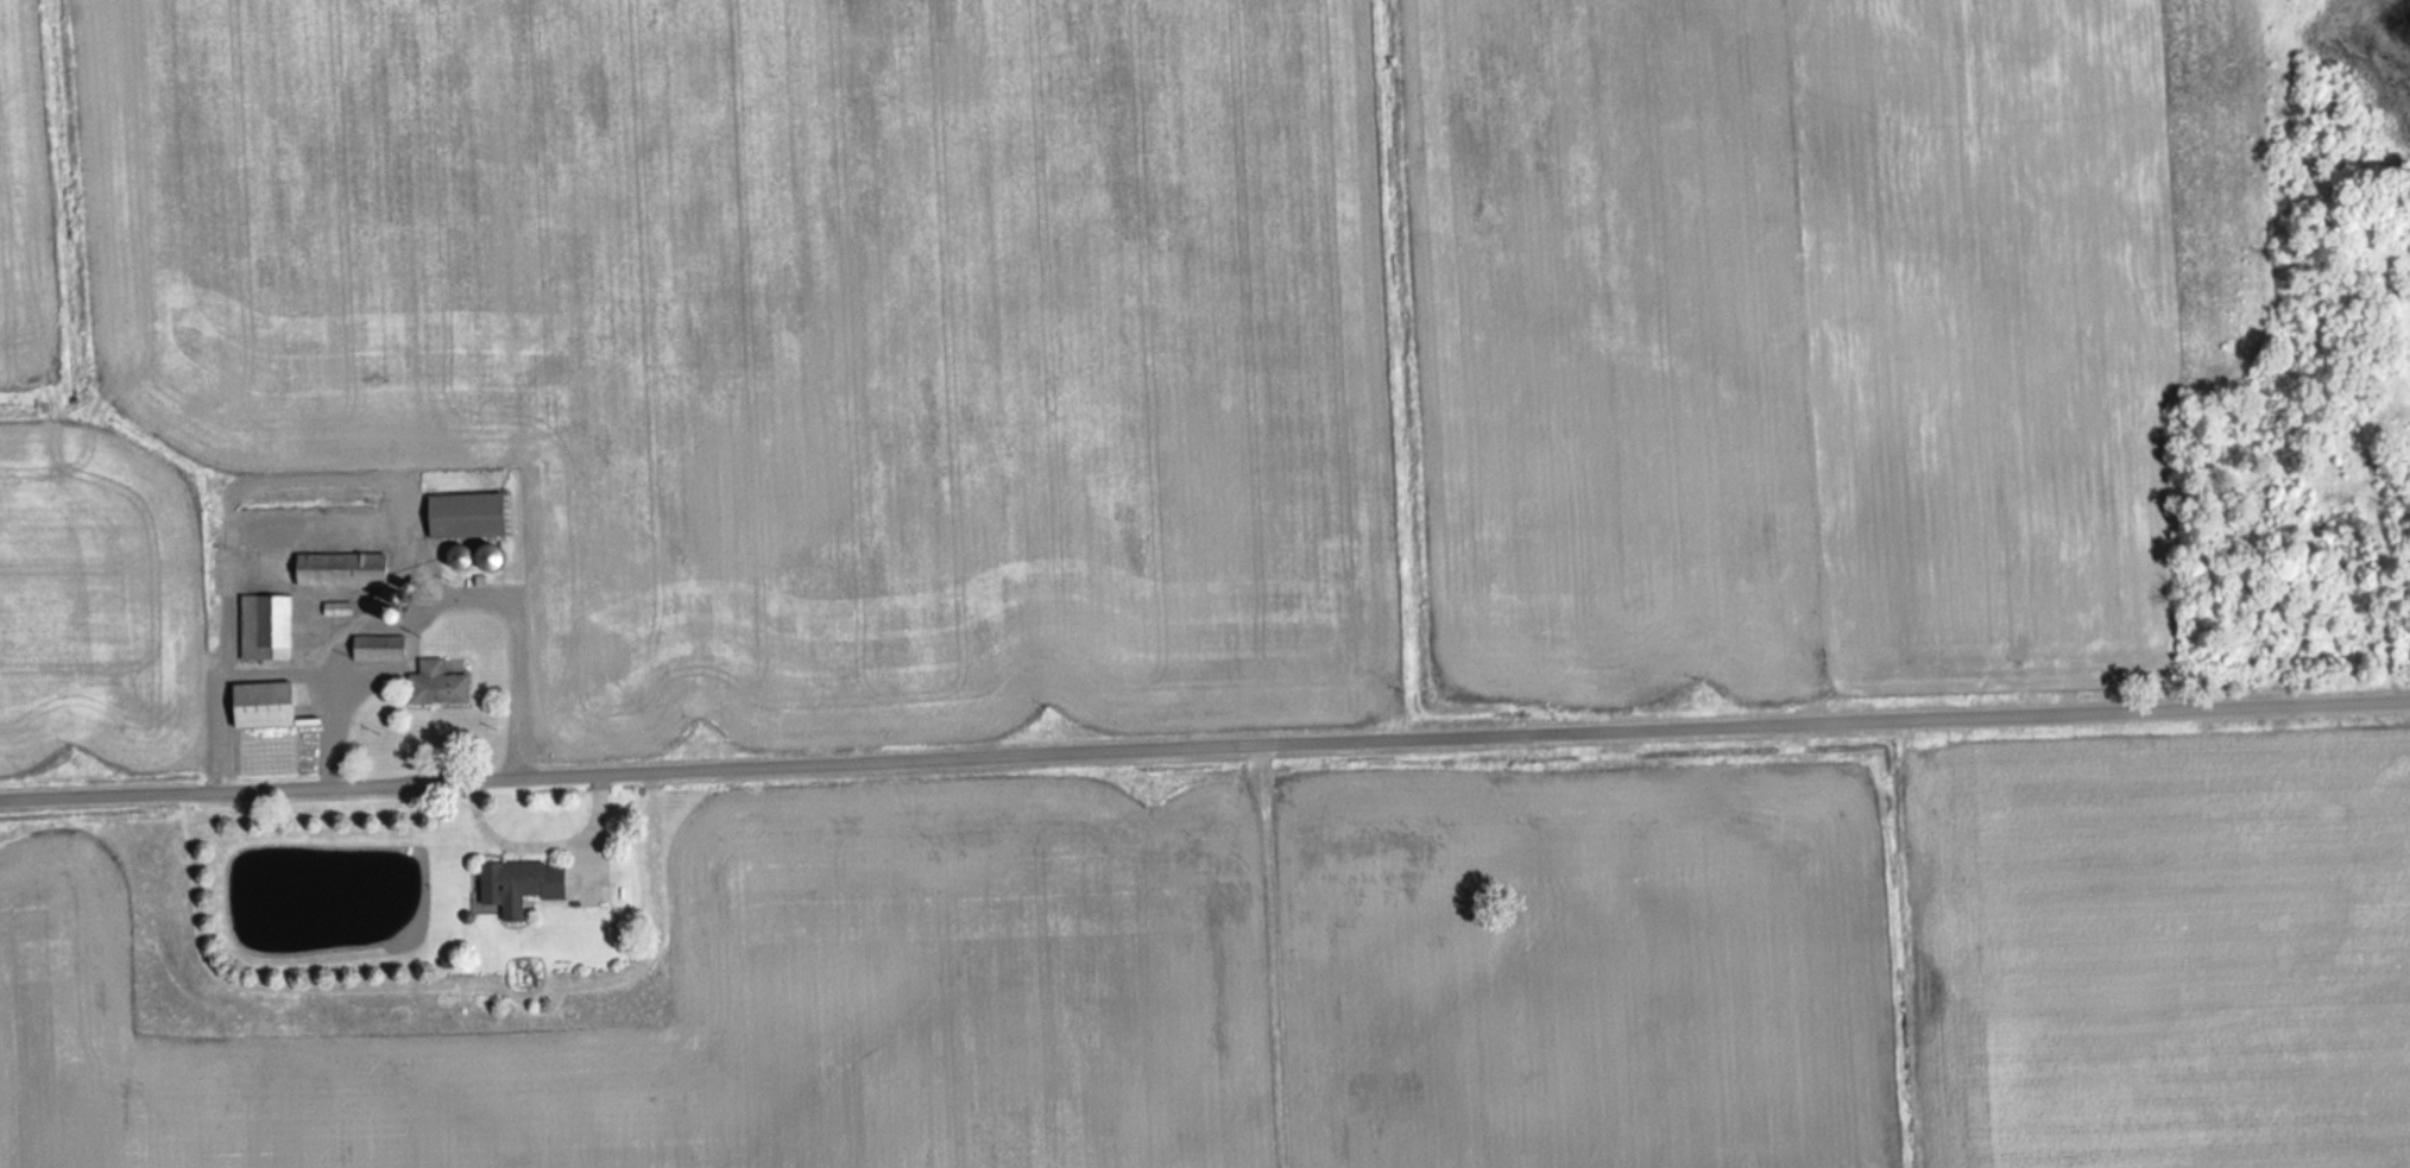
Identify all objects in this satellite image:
building: (472, 514)
building: (468, 556)
building: (501, 557)
building: (347, 569)
building: (385, 604)
building: (269, 627)
building: (383, 649)
building: (442, 684)
building: (270, 705)
road: (1204, 745)
building: (526, 884)

